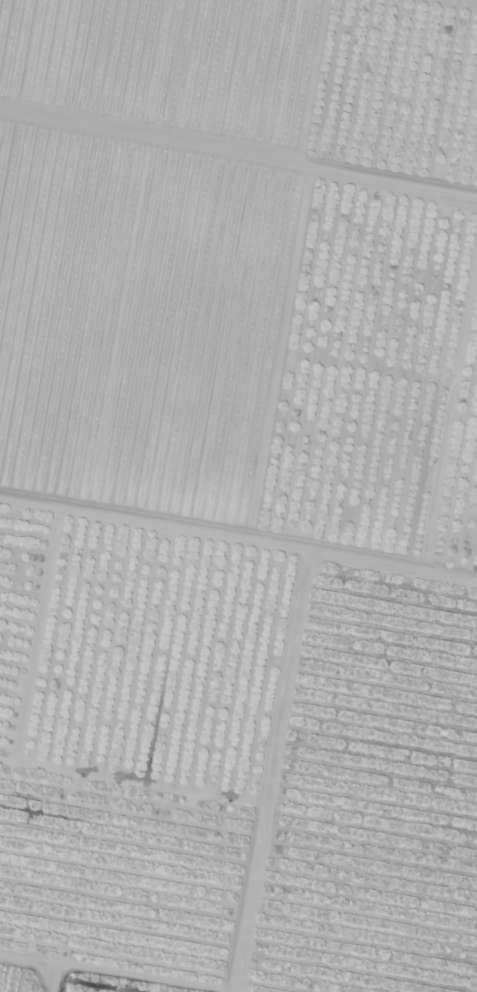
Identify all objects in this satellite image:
road: (238, 550)

